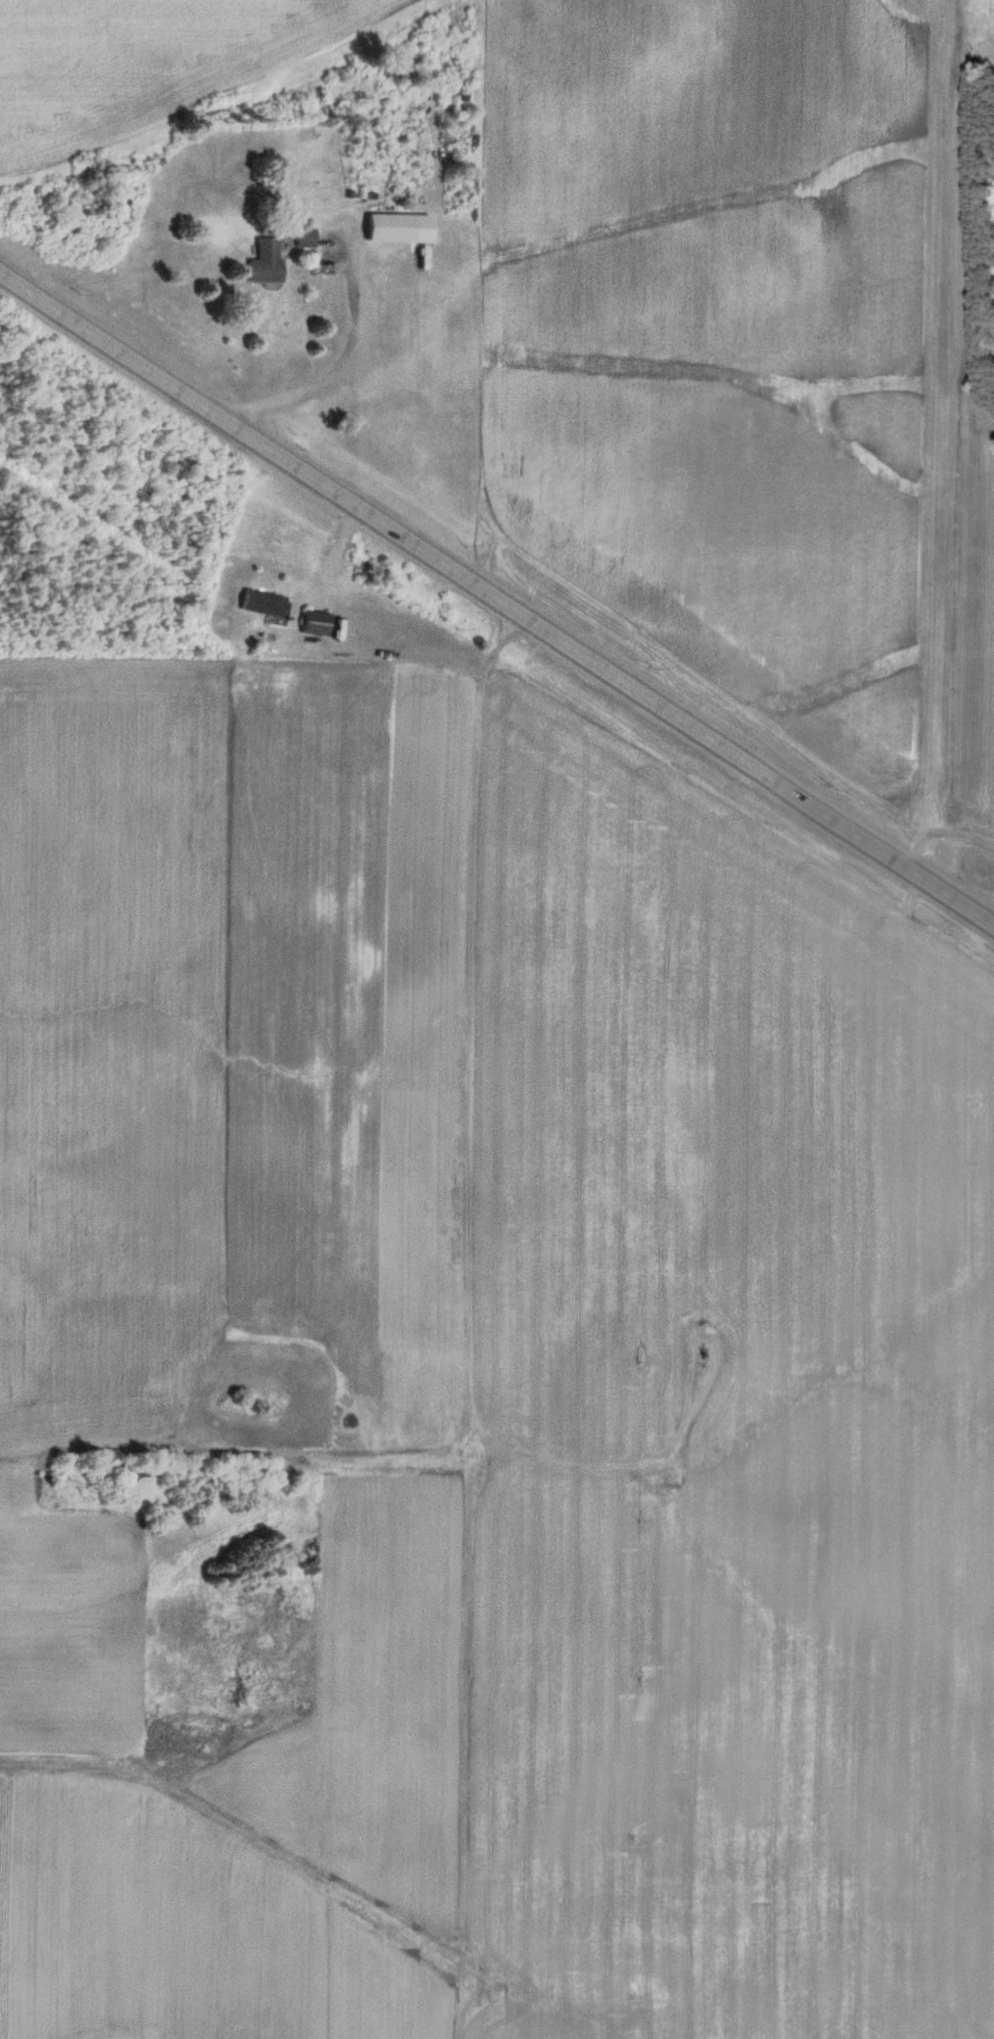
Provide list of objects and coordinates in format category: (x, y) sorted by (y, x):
building: (396, 228)
building: (302, 237)
building: (262, 261)
road: (498, 591)
building: (259, 605)
building: (312, 623)
road: (484, 1392)
road: (96, 1437)
road: (625, 1503)

